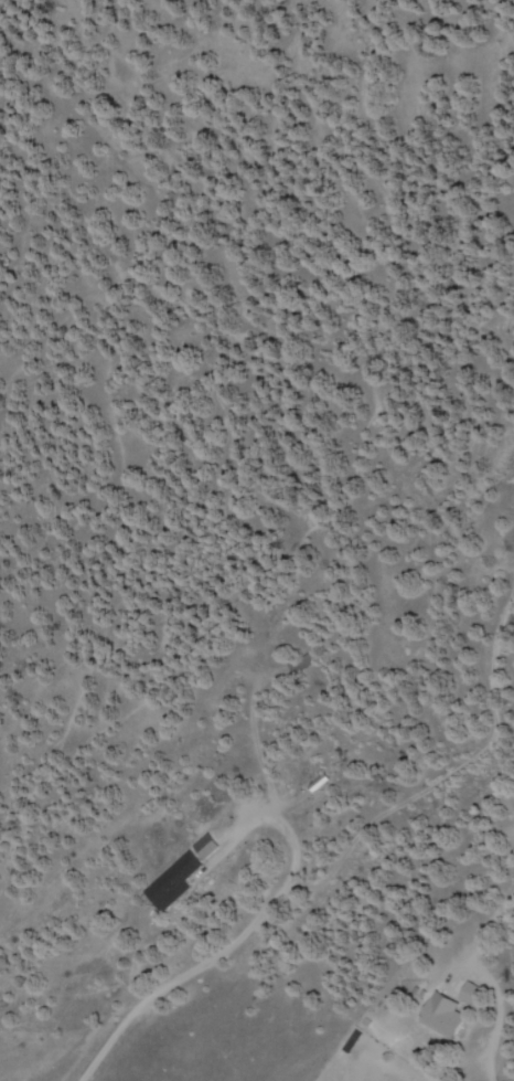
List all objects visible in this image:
building: (300, 663)
building: (203, 848)
building: (170, 882)
building: (470, 995)
building: (439, 1016)

